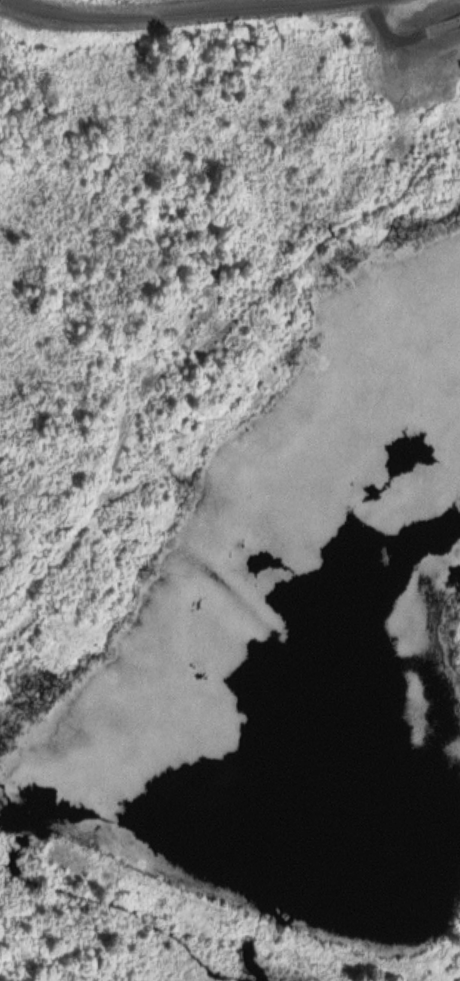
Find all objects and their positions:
road: (159, 12)
road: (407, 36)

